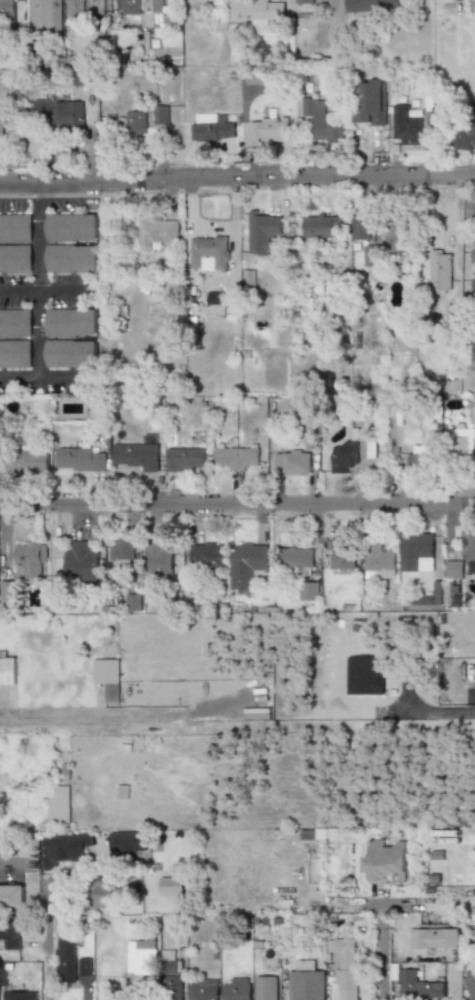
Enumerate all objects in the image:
building: (304, 2)
building: (75, 5)
building: (127, 6)
building: (7, 7)
building: (372, 7)
building: (153, 11)
building: (256, 11)
building: (46, 16)
building: (83, 78)
building: (4, 80)
building: (370, 103)
building: (60, 113)
building: (160, 114)
building: (322, 119)
building: (136, 123)
building: (405, 126)
building: (213, 127)
building: (268, 130)
building: (465, 131)
building: (1, 132)
road: (237, 182)
building: (322, 225)
building: (72, 227)
building: (361, 227)
building: (15, 228)
building: (261, 231)
building: (156, 232)
building: (395, 238)
building: (209, 252)
building: (373, 256)
building: (72, 258)
building: (16, 259)
building: (441, 271)
road: (37, 283)
building: (473, 292)
road: (52, 295)
building: (215, 302)
building: (15, 323)
building: (72, 323)
building: (15, 353)
building: (72, 353)
road: (53, 379)
building: (472, 407)
building: (463, 443)
building: (353, 453)
building: (137, 455)
building: (422, 456)
building: (184, 458)
building: (237, 458)
building: (81, 459)
building: (29, 461)
building: (292, 461)
road: (237, 506)
building: (122, 548)
building: (419, 550)
building: (208, 555)
building: (463, 555)
building: (339, 556)
building: (295, 558)
building: (32, 559)
building: (158, 559)
building: (379, 559)
building: (81, 562)
building: (247, 566)
building: (308, 590)
building: (435, 594)
building: (133, 602)
building: (3, 668)
building: (363, 675)
building: (107, 678)
road: (441, 702)
road: (87, 718)
building: (4, 782)
building: (59, 803)
building: (127, 841)
building: (64, 848)
building: (386, 861)
road: (7, 866)
building: (171, 886)
building: (102, 894)
building: (11, 896)
building: (9, 934)
building: (434, 938)
road: (46, 943)
road: (382, 945)
building: (141, 956)
building: (66, 959)
building: (84, 966)
building: (346, 967)
building: (2, 974)
building: (172, 976)
building: (468, 982)
building: (306, 985)
building: (420, 985)
building: (267, 988)
building: (203, 989)
building: (236, 990)
building: (17, 995)

